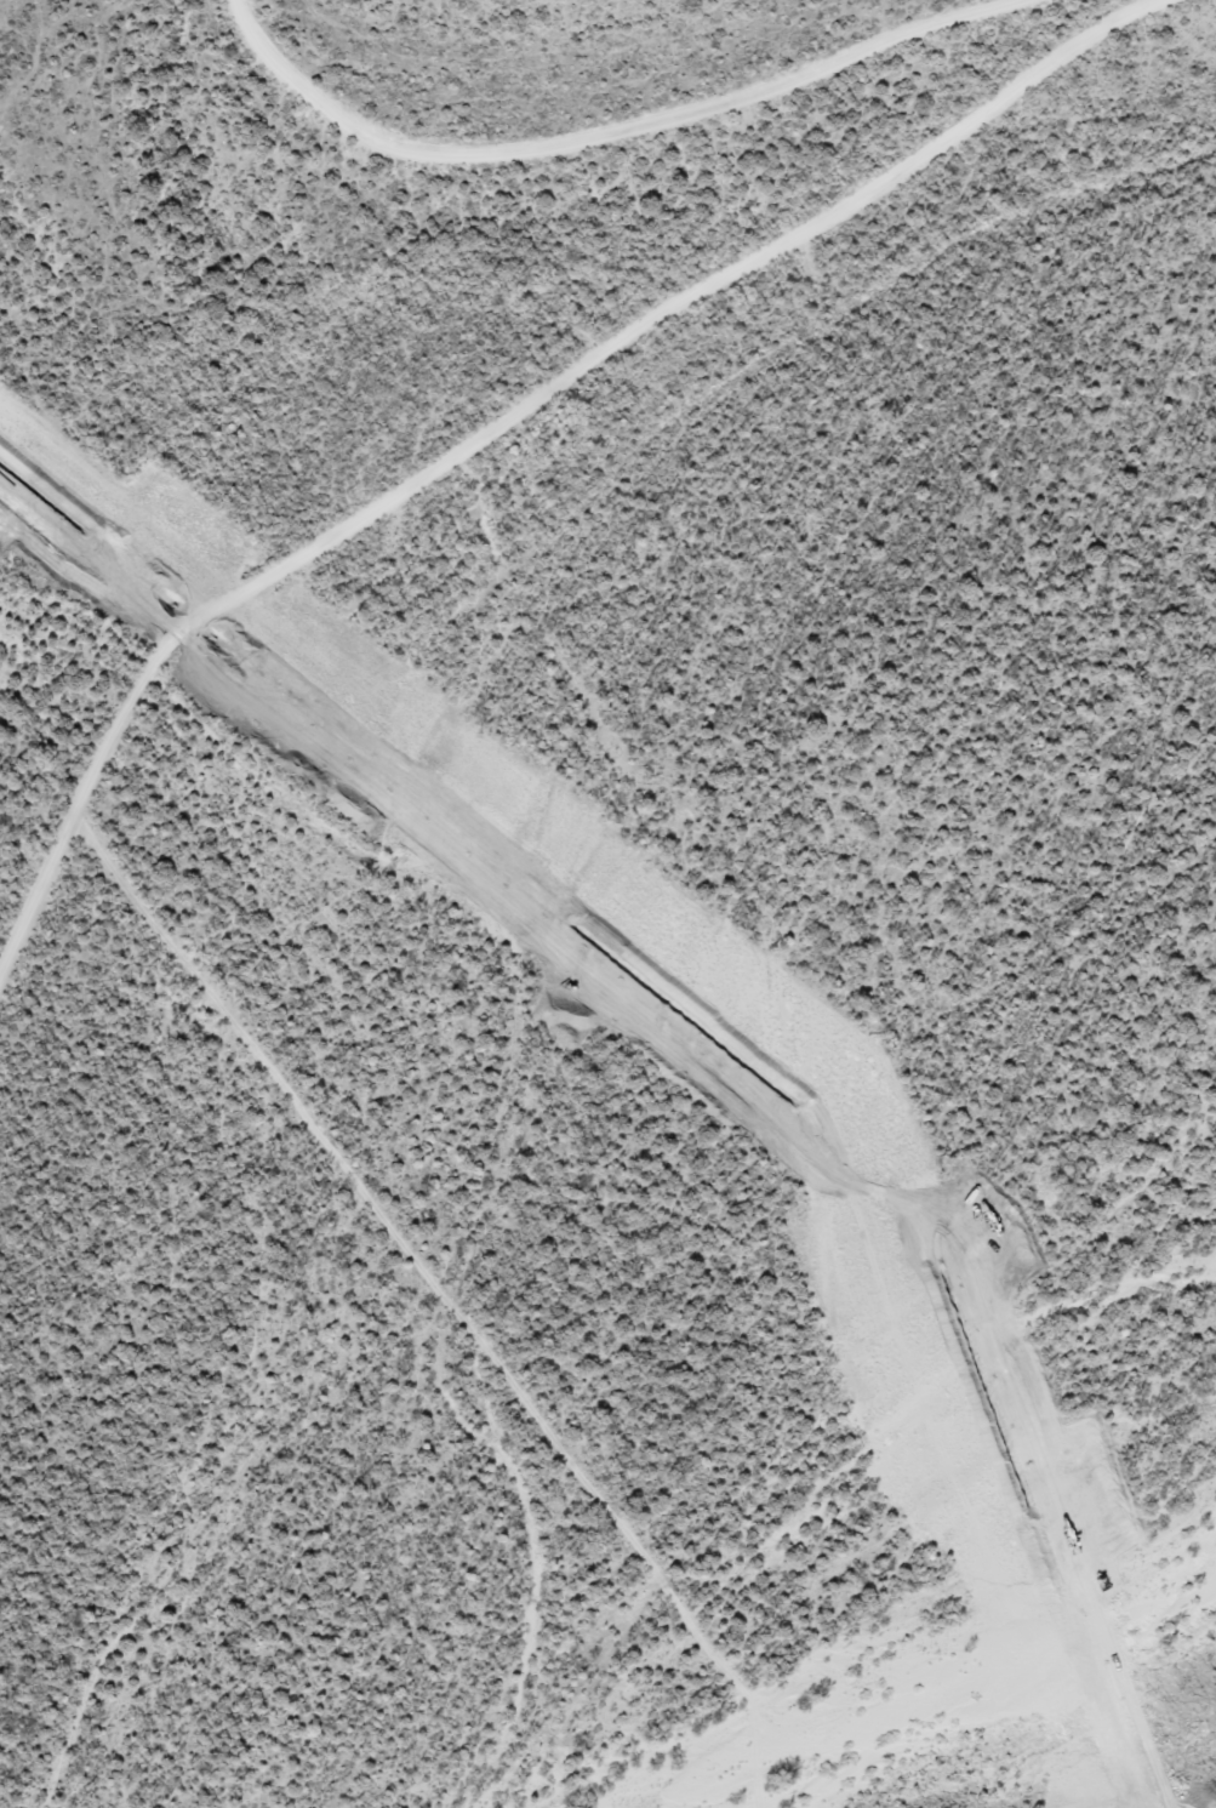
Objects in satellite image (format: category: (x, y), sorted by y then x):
road: (594, 138)
road: (504, 427)
river: (1077, 1719)

